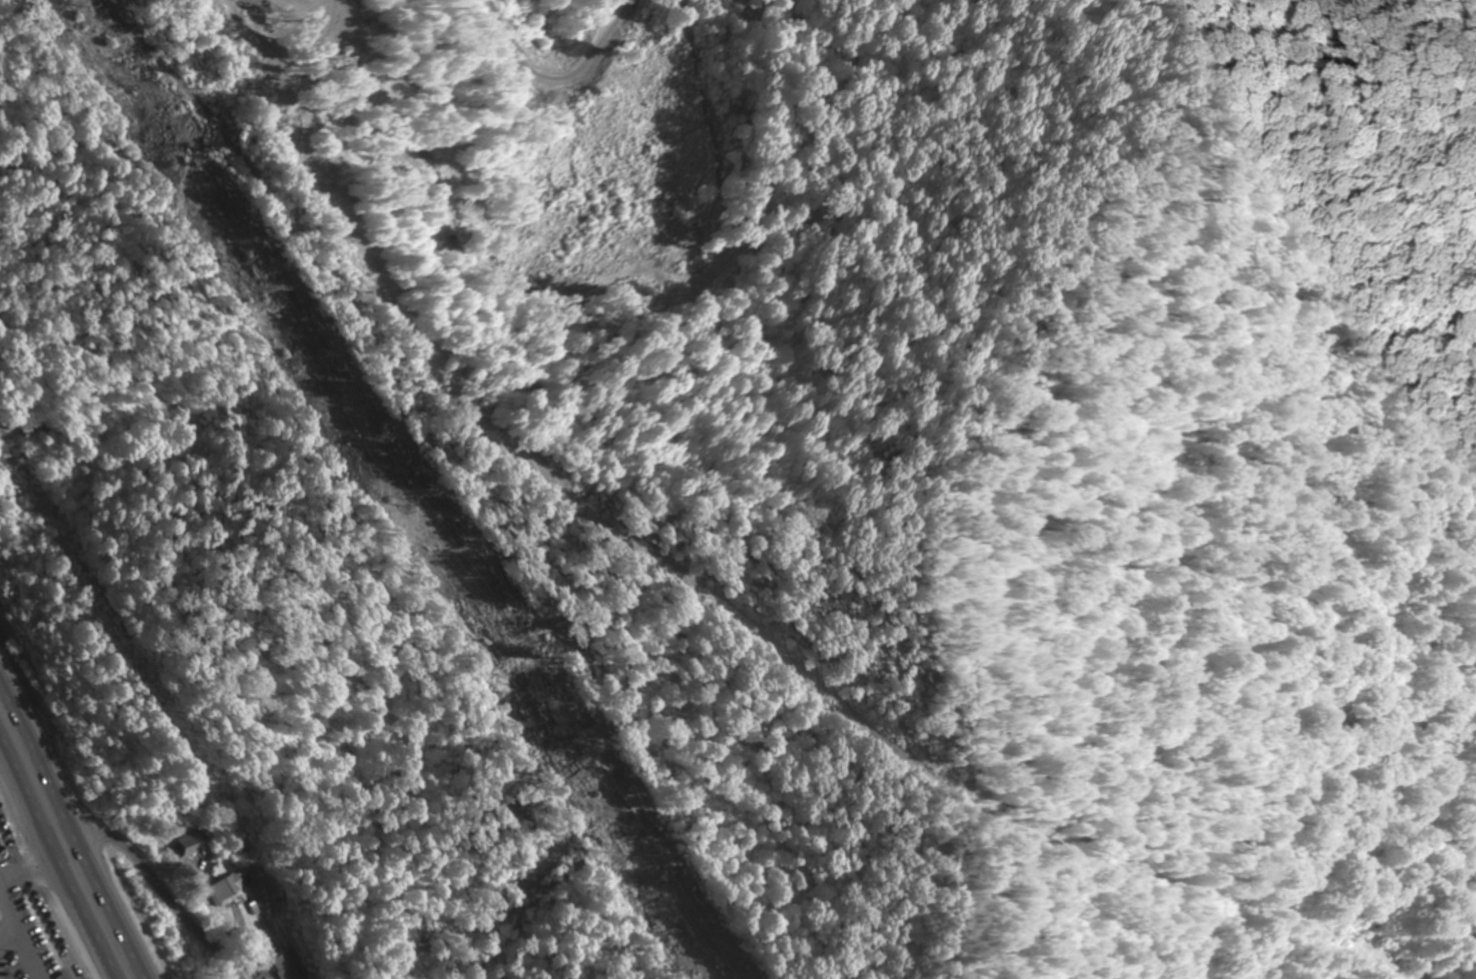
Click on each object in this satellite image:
road: (74, 826)
building: (195, 849)
road: (57, 862)
road: (166, 890)
building: (222, 892)
building: (283, 967)

